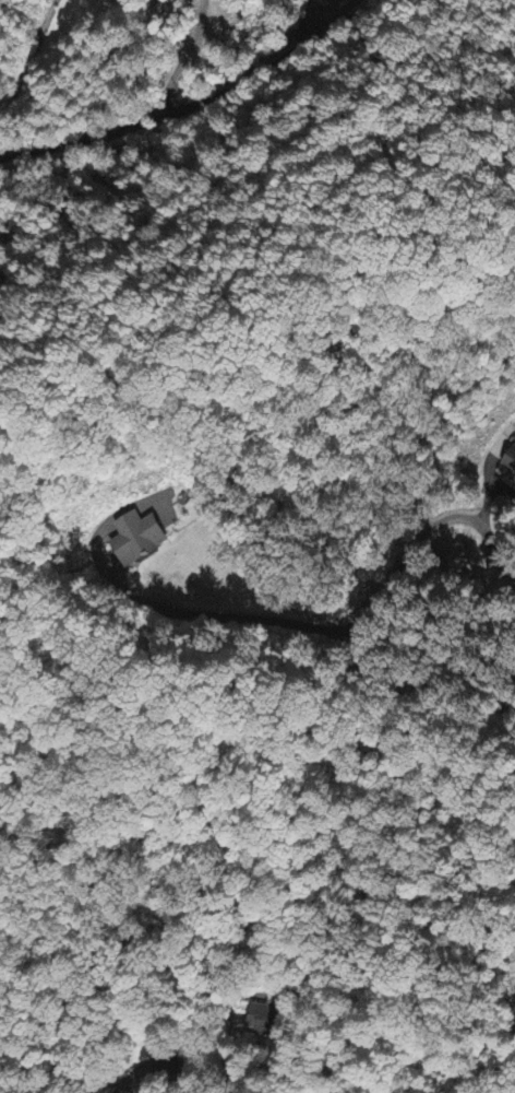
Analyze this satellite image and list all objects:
road: (29, 54)
road: (189, 105)
building: (511, 461)
building: (514, 482)
building: (142, 538)
road: (350, 625)
building: (260, 1019)
road: (277, 1057)
road: (130, 1082)

